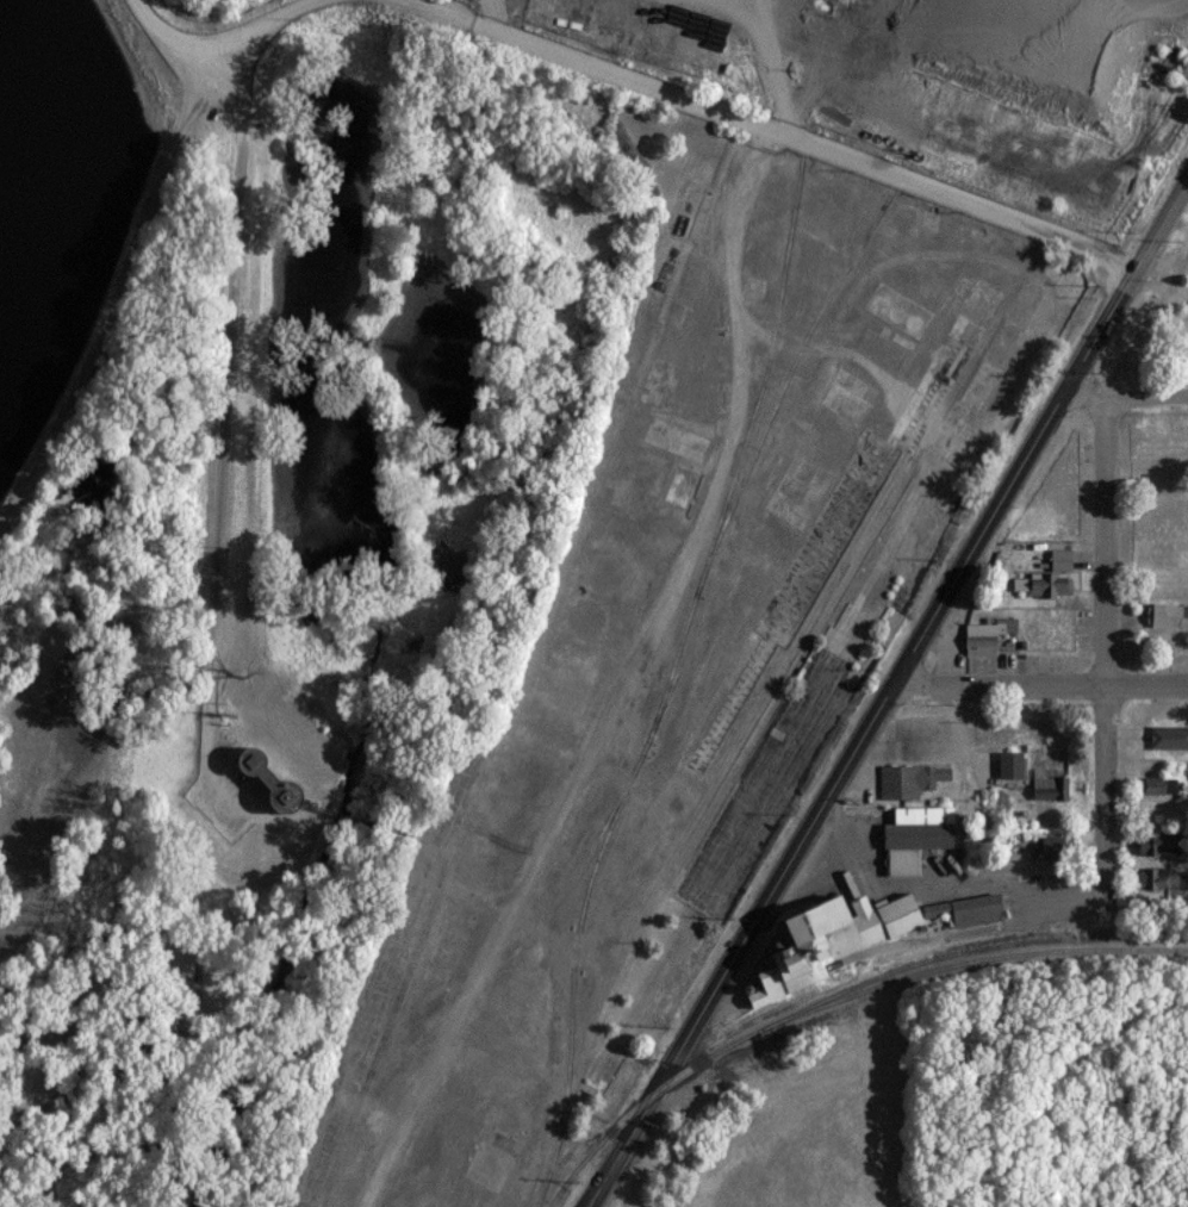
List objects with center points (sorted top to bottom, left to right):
road: (220, 37)
road: (772, 130)
railway: (842, 284)
road: (1128, 394)
road: (224, 402)
building: (1064, 559)
building: (1046, 584)
building: (1167, 614)
building: (990, 635)
road: (1106, 651)
road: (1044, 683)
road: (889, 697)
building: (1168, 739)
building: (1013, 764)
building: (912, 780)
building: (1163, 784)
building: (1053, 789)
building: (920, 836)
building: (1159, 842)
building: (1052, 846)
building: (1159, 877)
railway: (440, 889)
building: (865, 933)
railway: (1024, 945)
railway: (461, 993)
railway: (1066, 1078)

